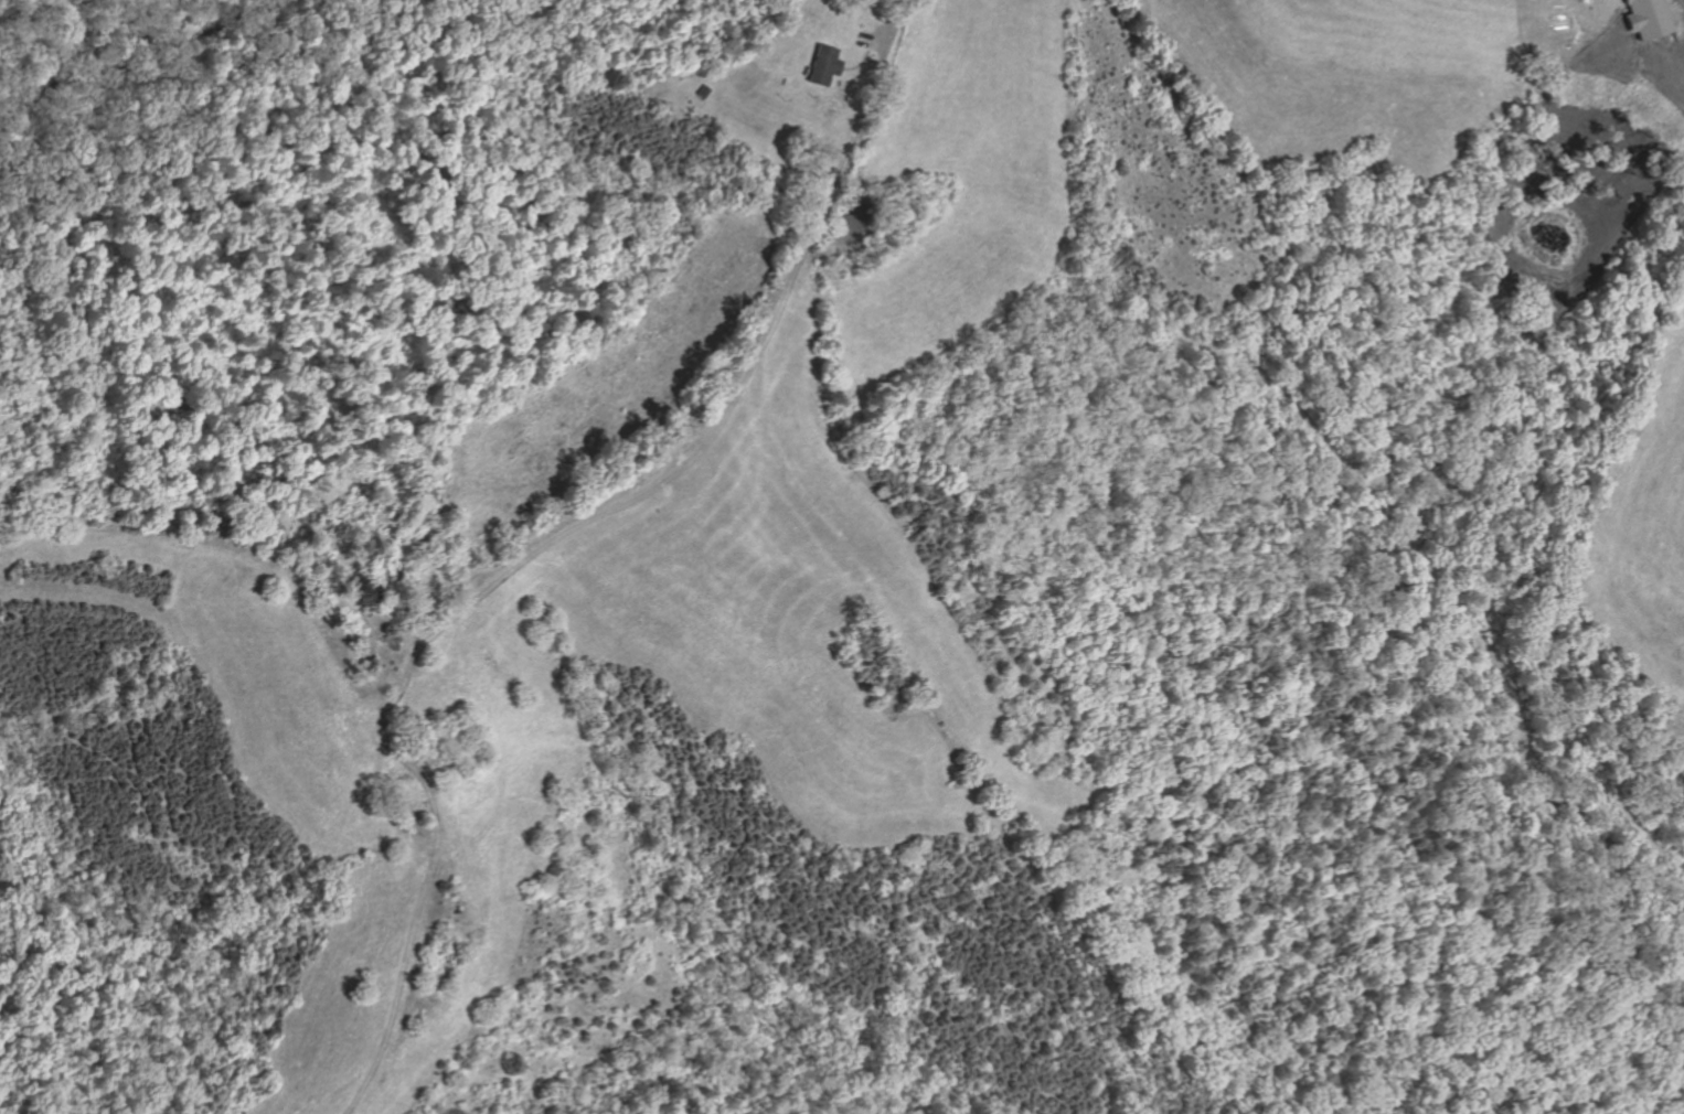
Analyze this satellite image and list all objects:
building: (1643, 19)
road: (892, 26)
road: (873, 41)
road: (862, 63)
building: (824, 64)
road: (531, 559)

